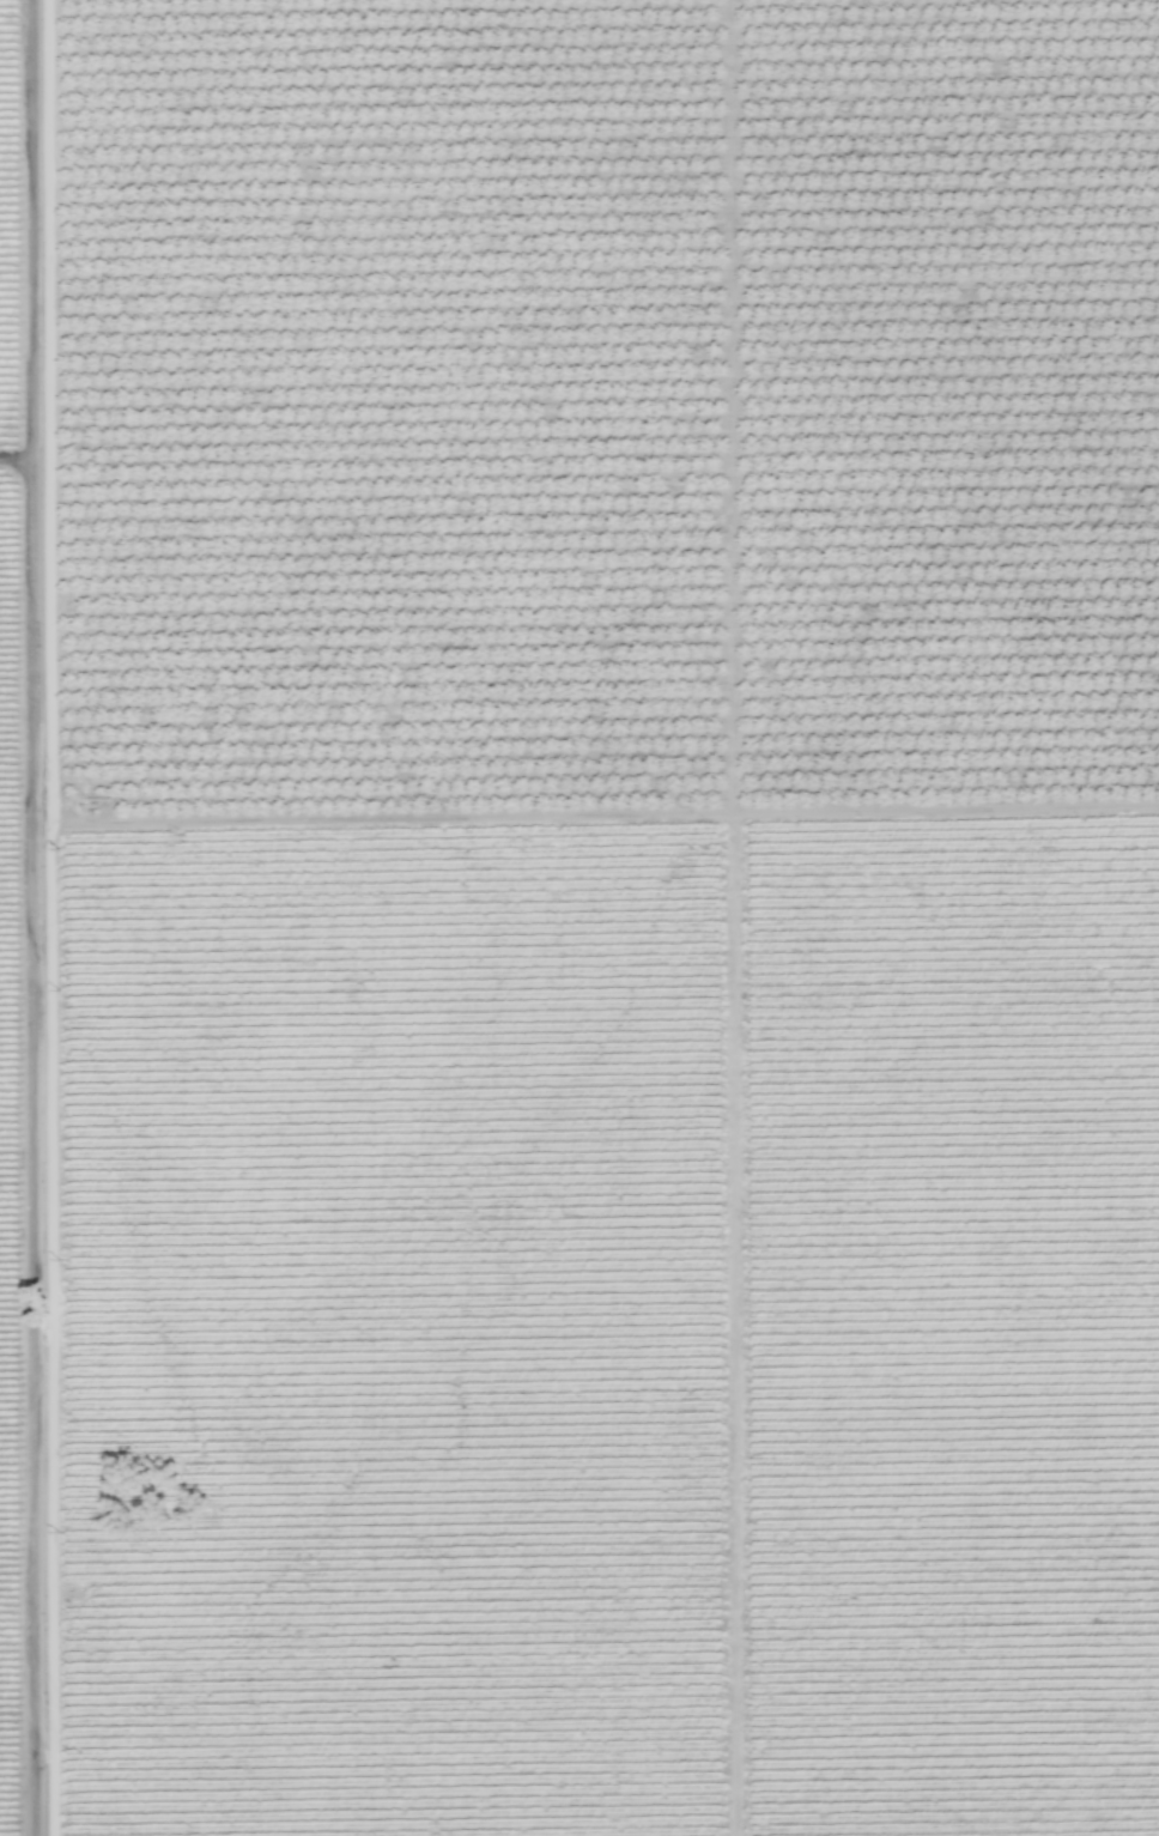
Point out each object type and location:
road: (23, 238)
road: (101, 823)
road: (17, 1149)
road: (729, 1326)

